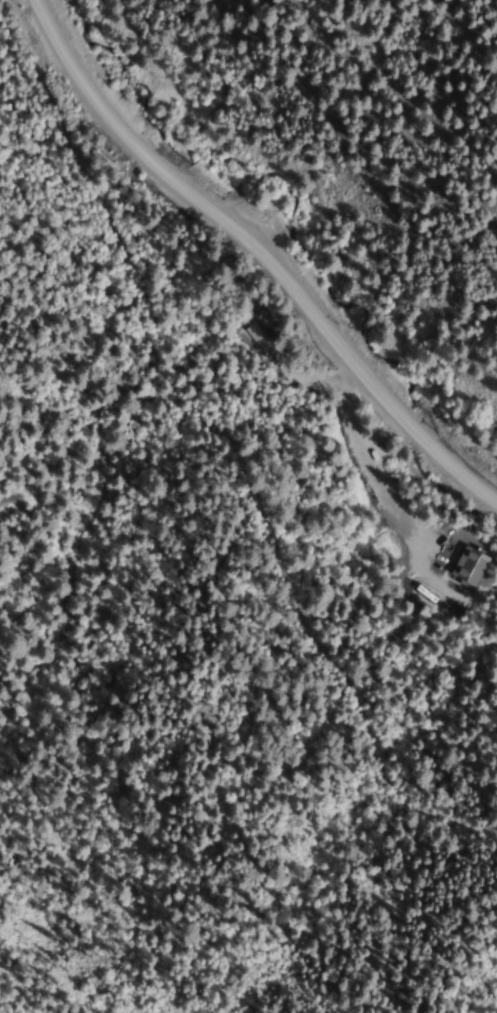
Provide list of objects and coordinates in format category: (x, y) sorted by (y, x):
road: (252, 260)

